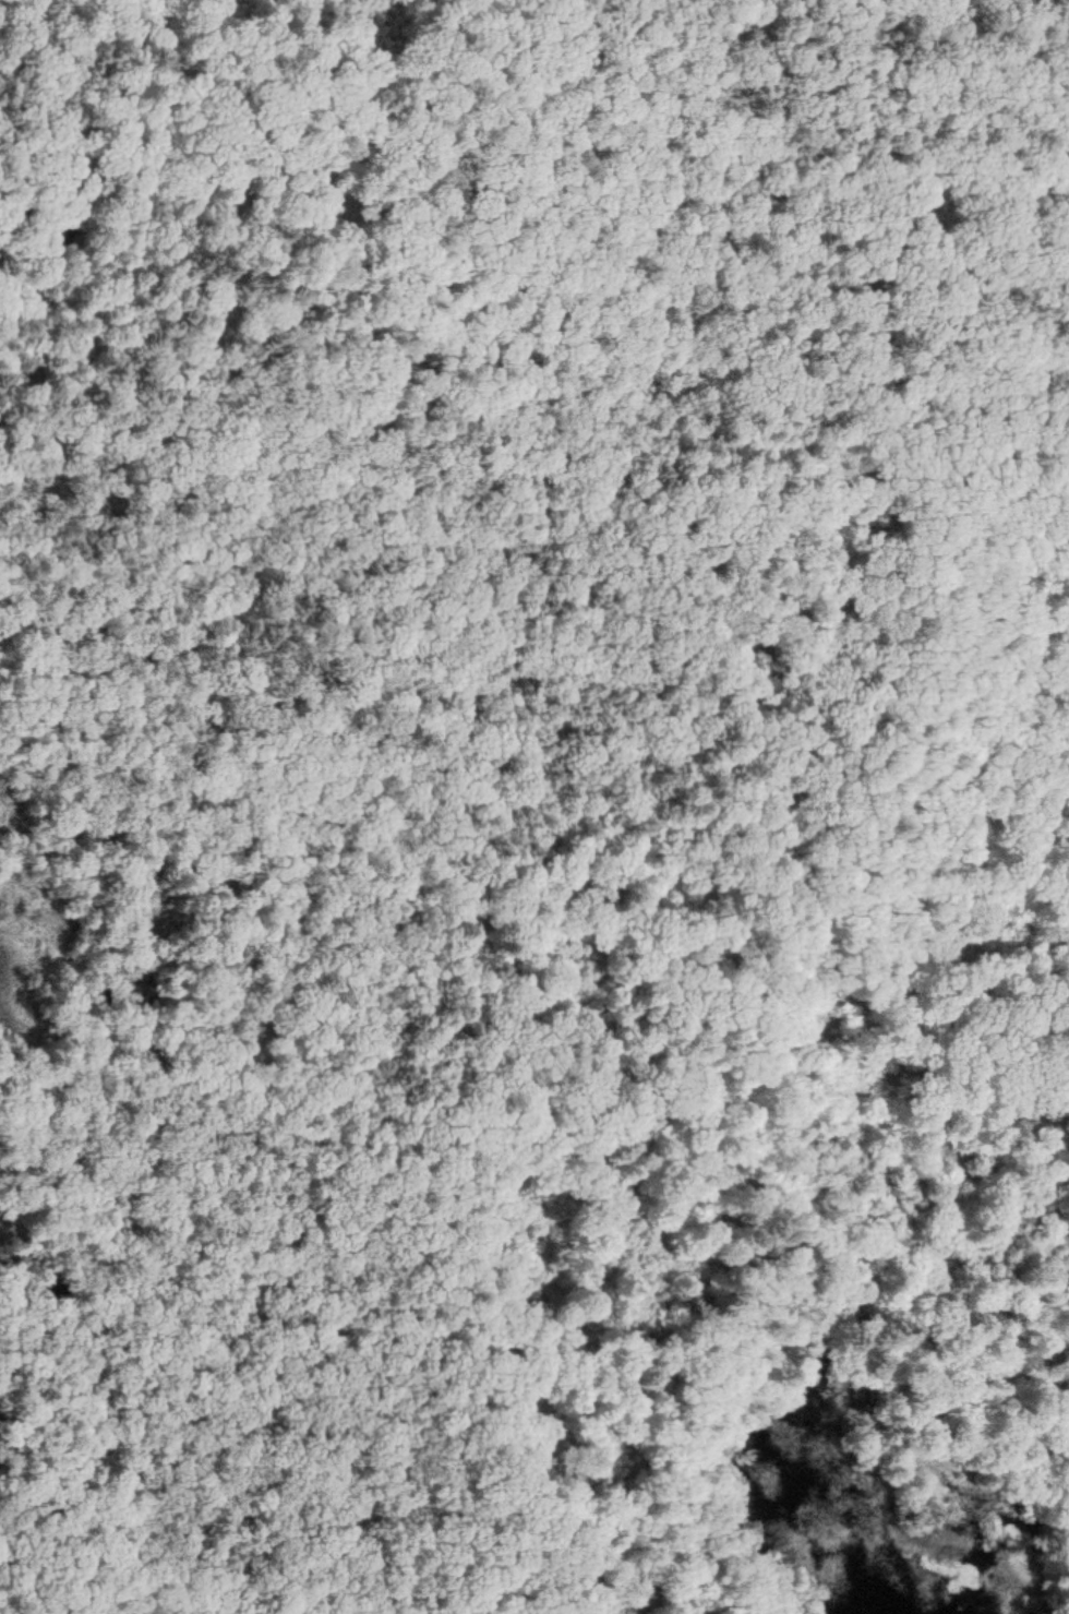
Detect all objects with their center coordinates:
road: (420, 695)
road: (685, 707)
park: (534, 806)
road: (719, 1043)

